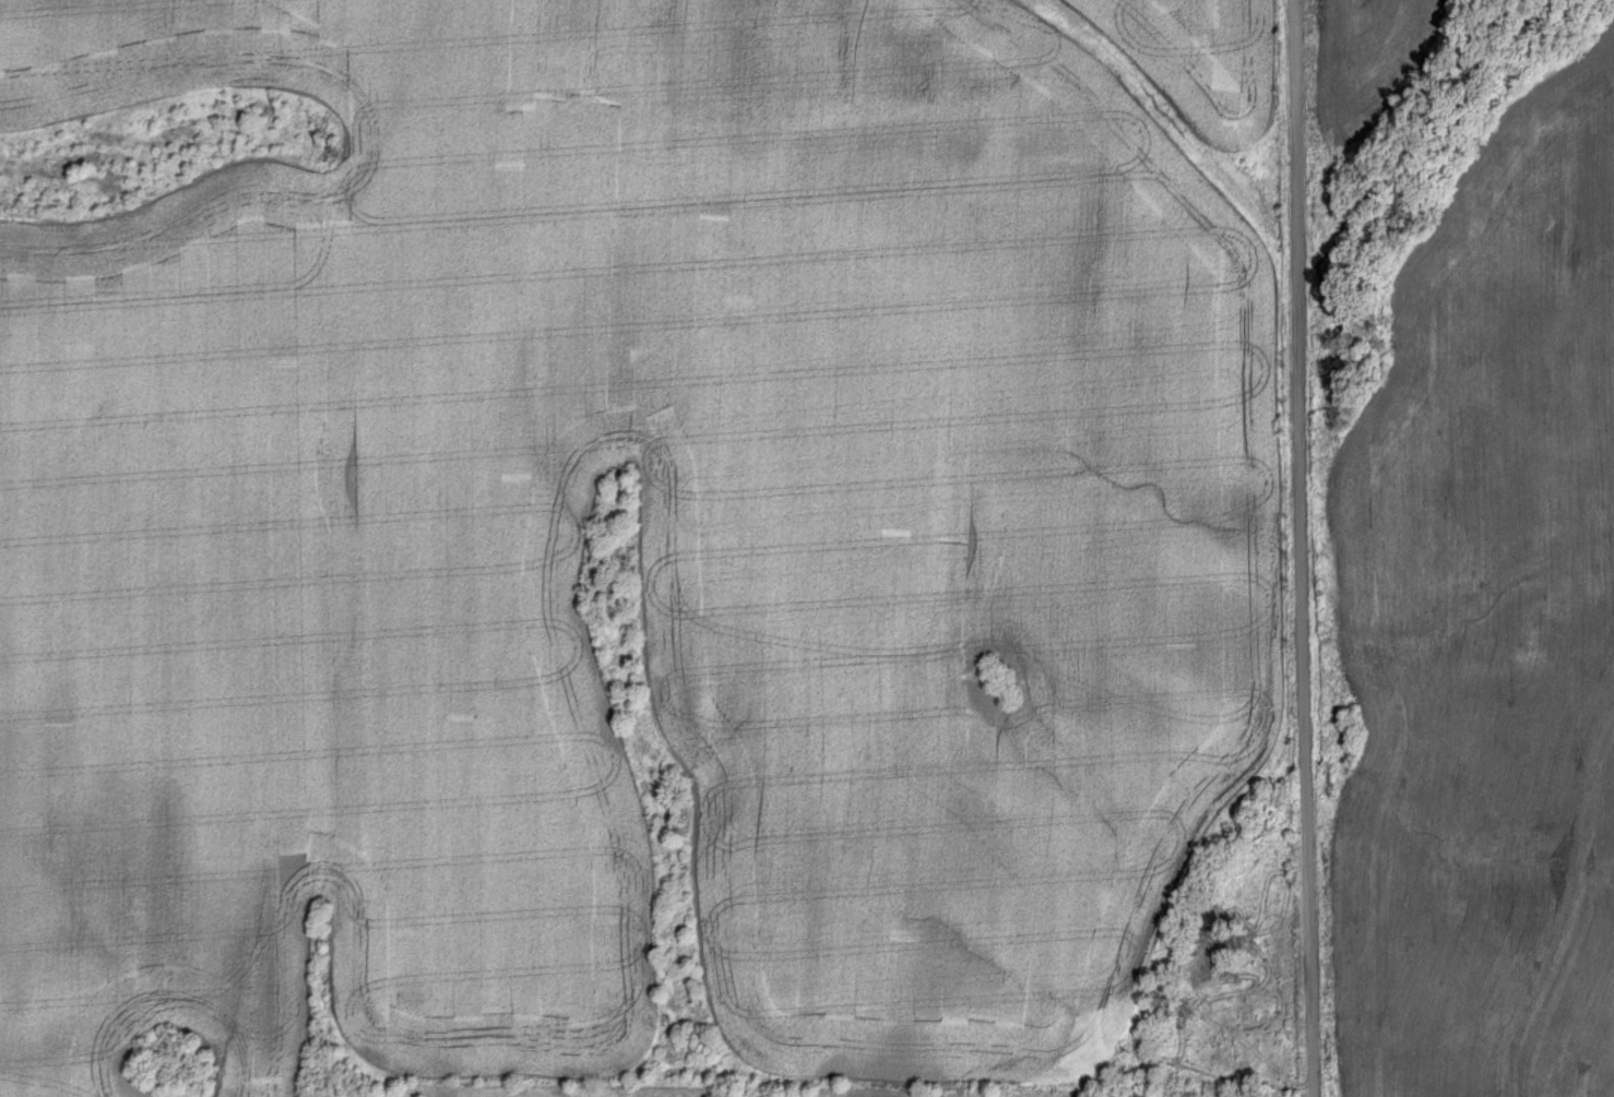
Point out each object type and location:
road: (1292, 548)

